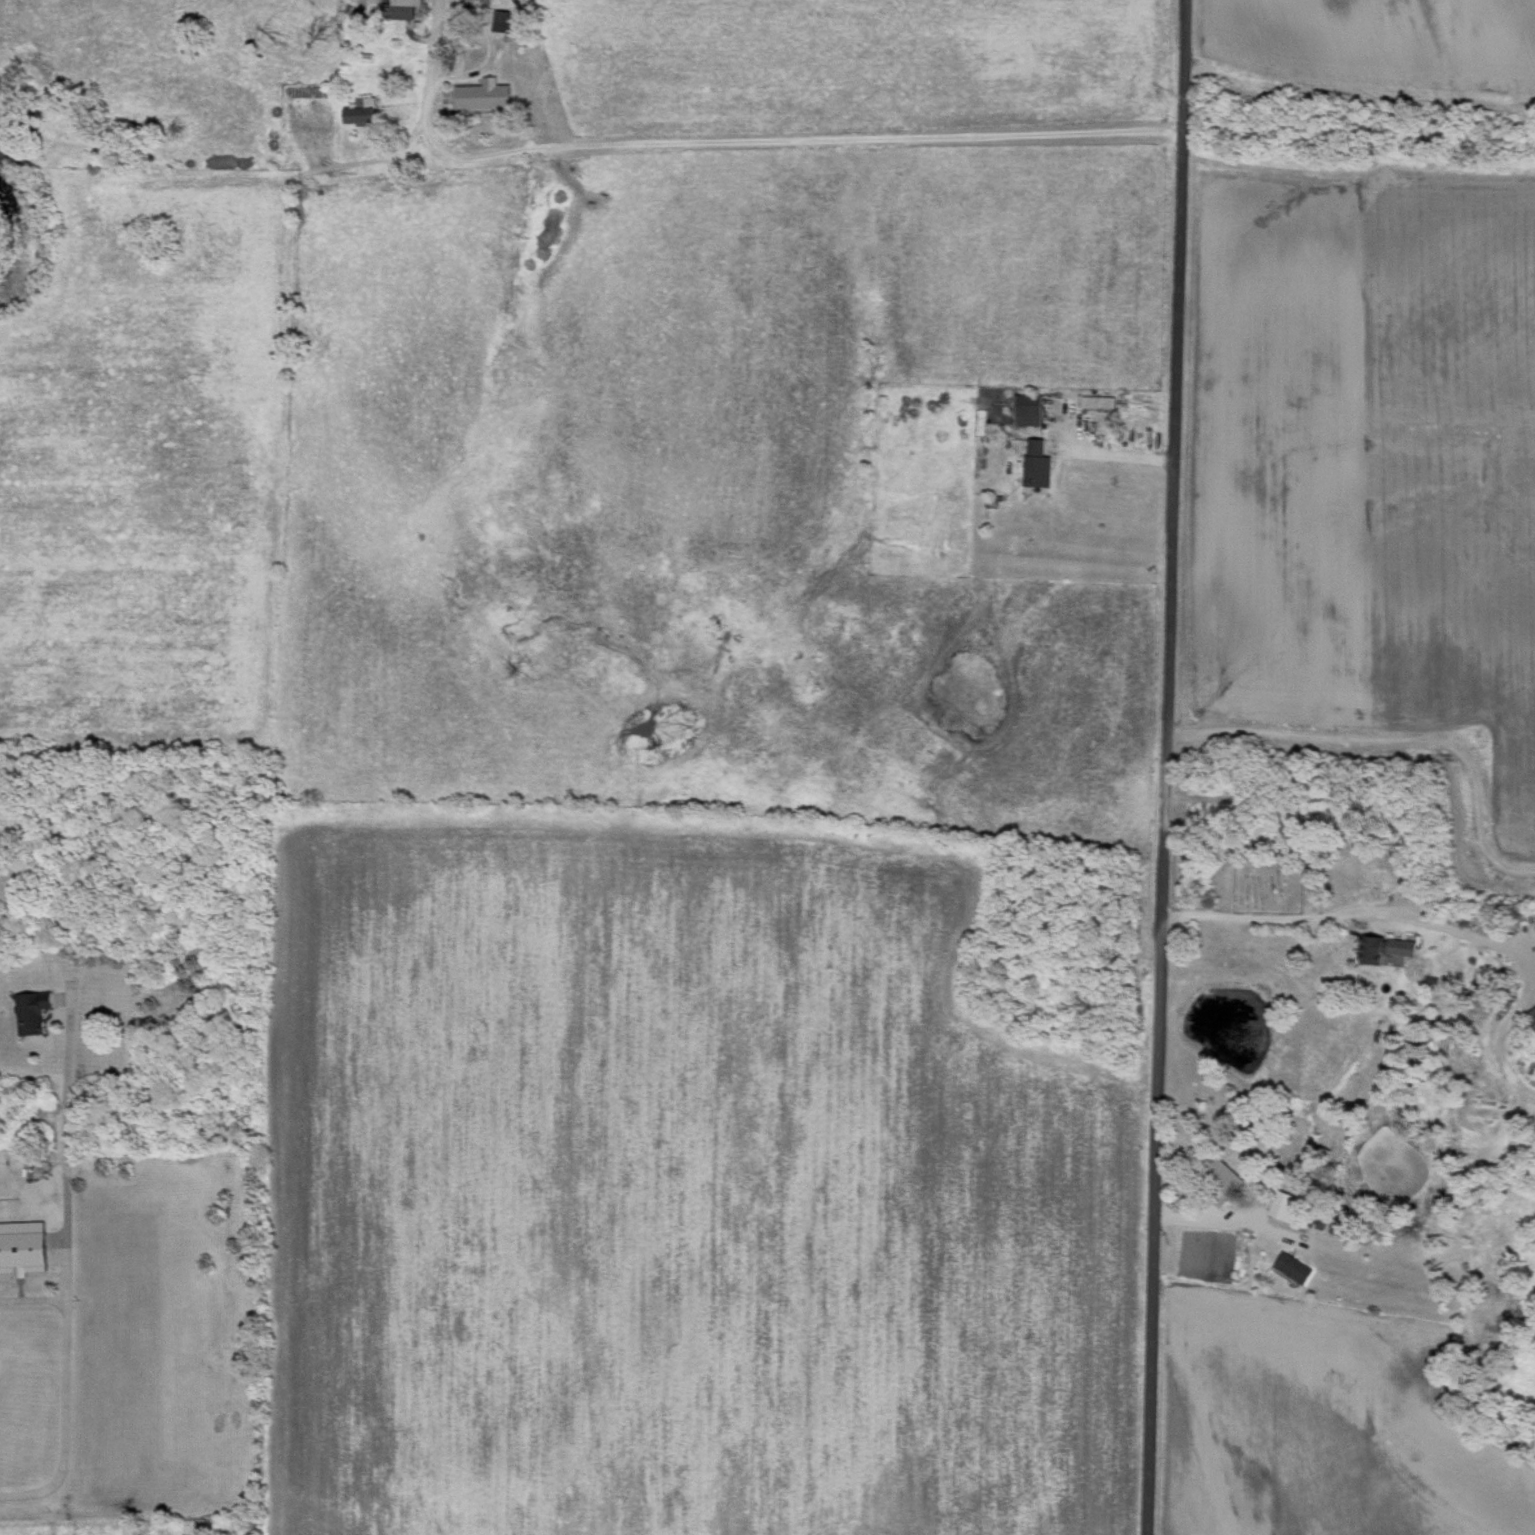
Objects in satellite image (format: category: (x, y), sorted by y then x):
building: (396, 8)
building: (501, 20)
building: (482, 93)
building: (360, 110)
road: (737, 143)
building: (1028, 407)
road: (1108, 456)
building: (1036, 461)
road: (1395, 737)
road: (1163, 767)
park: (1269, 874)
road: (1351, 909)
building: (1401, 945)
building: (1371, 947)
road: (1532, 967)
building: (32, 1009)
building: (1532, 1012)
road: (1498, 1033)
building: (1224, 1175)
road: (31, 1203)
building: (1287, 1205)
road: (1215, 1218)
building: (21, 1247)
building: (1293, 1266)
road: (63, 1268)
building: (21, 1280)
road: (31, 1296)

